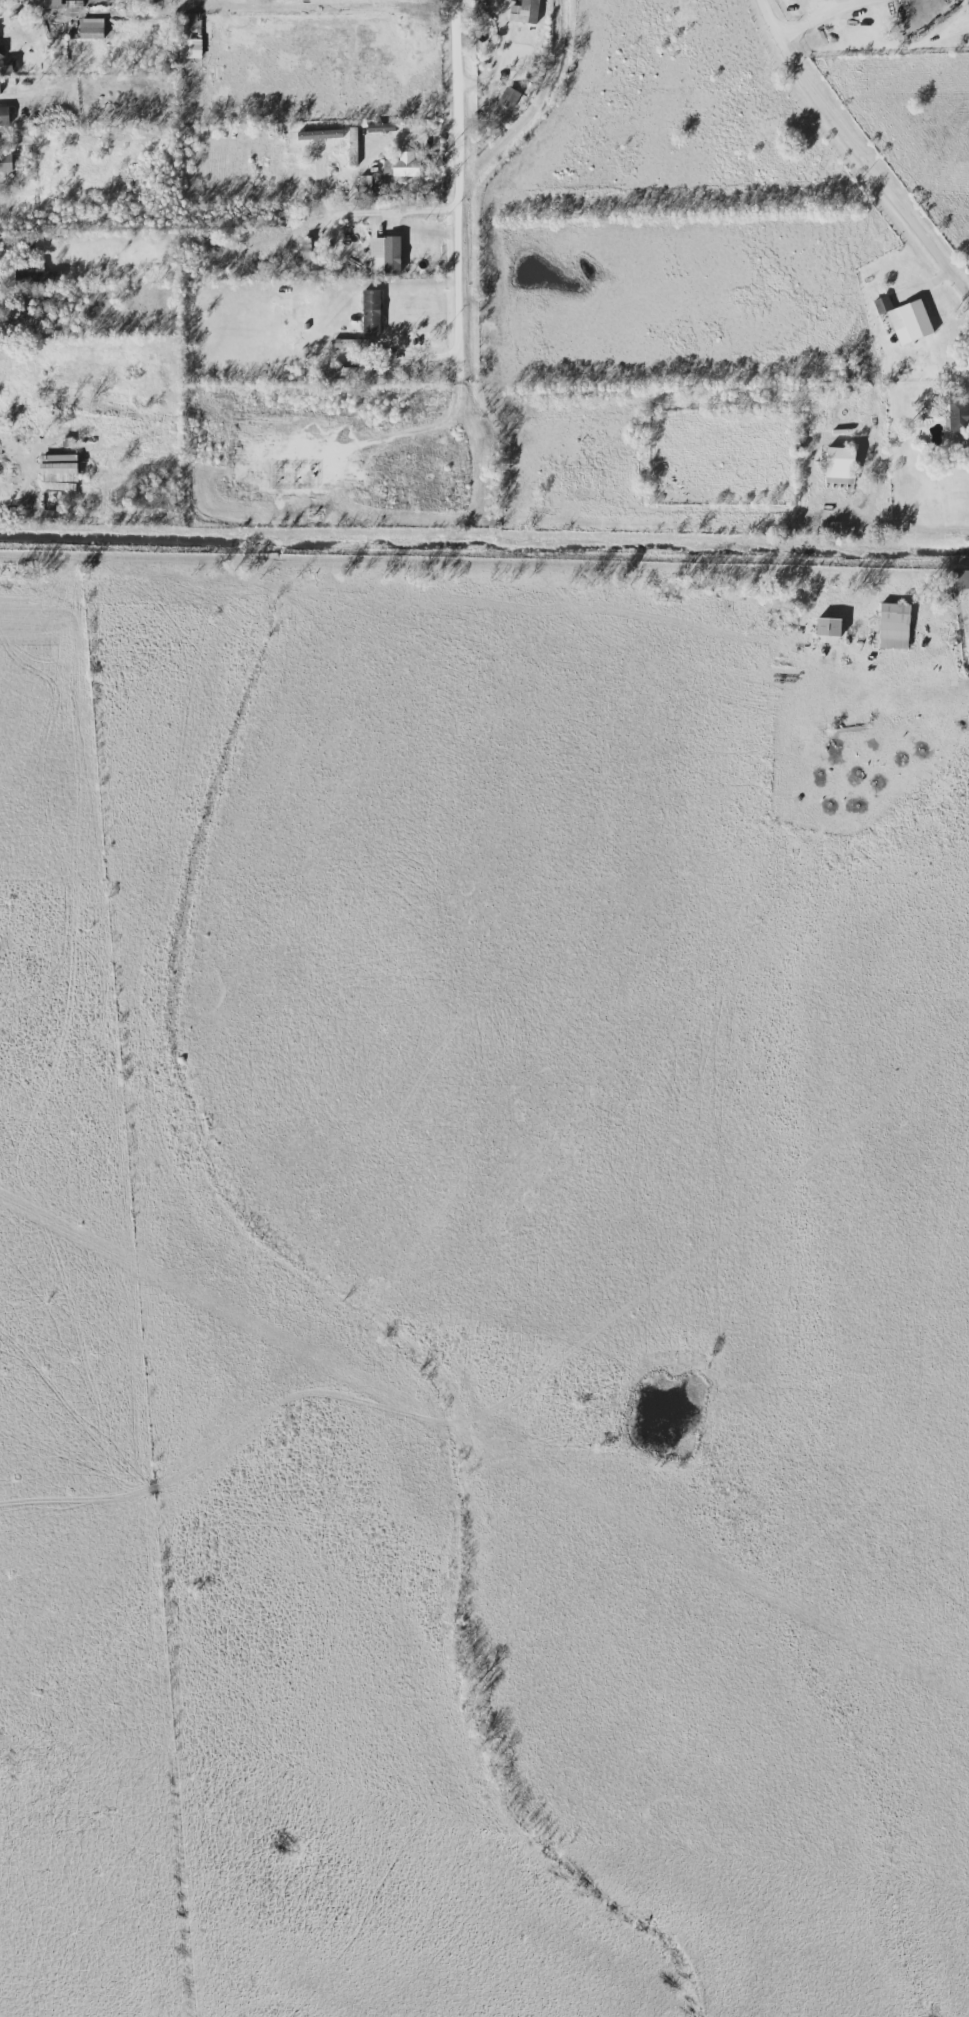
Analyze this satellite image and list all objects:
building: (525, 11)
road: (819, 12)
building: (91, 28)
building: (191, 36)
road: (506, 58)
building: (6, 61)
building: (0, 92)
building: (509, 97)
building: (4, 116)
building: (381, 127)
building: (353, 145)
road: (858, 152)
building: (5, 162)
building: (402, 165)
road: (459, 188)
building: (309, 256)
building: (389, 256)
building: (371, 312)
building: (905, 318)
building: (362, 342)
building: (359, 371)
building: (959, 414)
building: (840, 465)
building: (59, 467)
road: (16, 493)
building: (52, 500)
road: (917, 523)
building: (960, 578)
building: (894, 625)
building: (828, 627)

